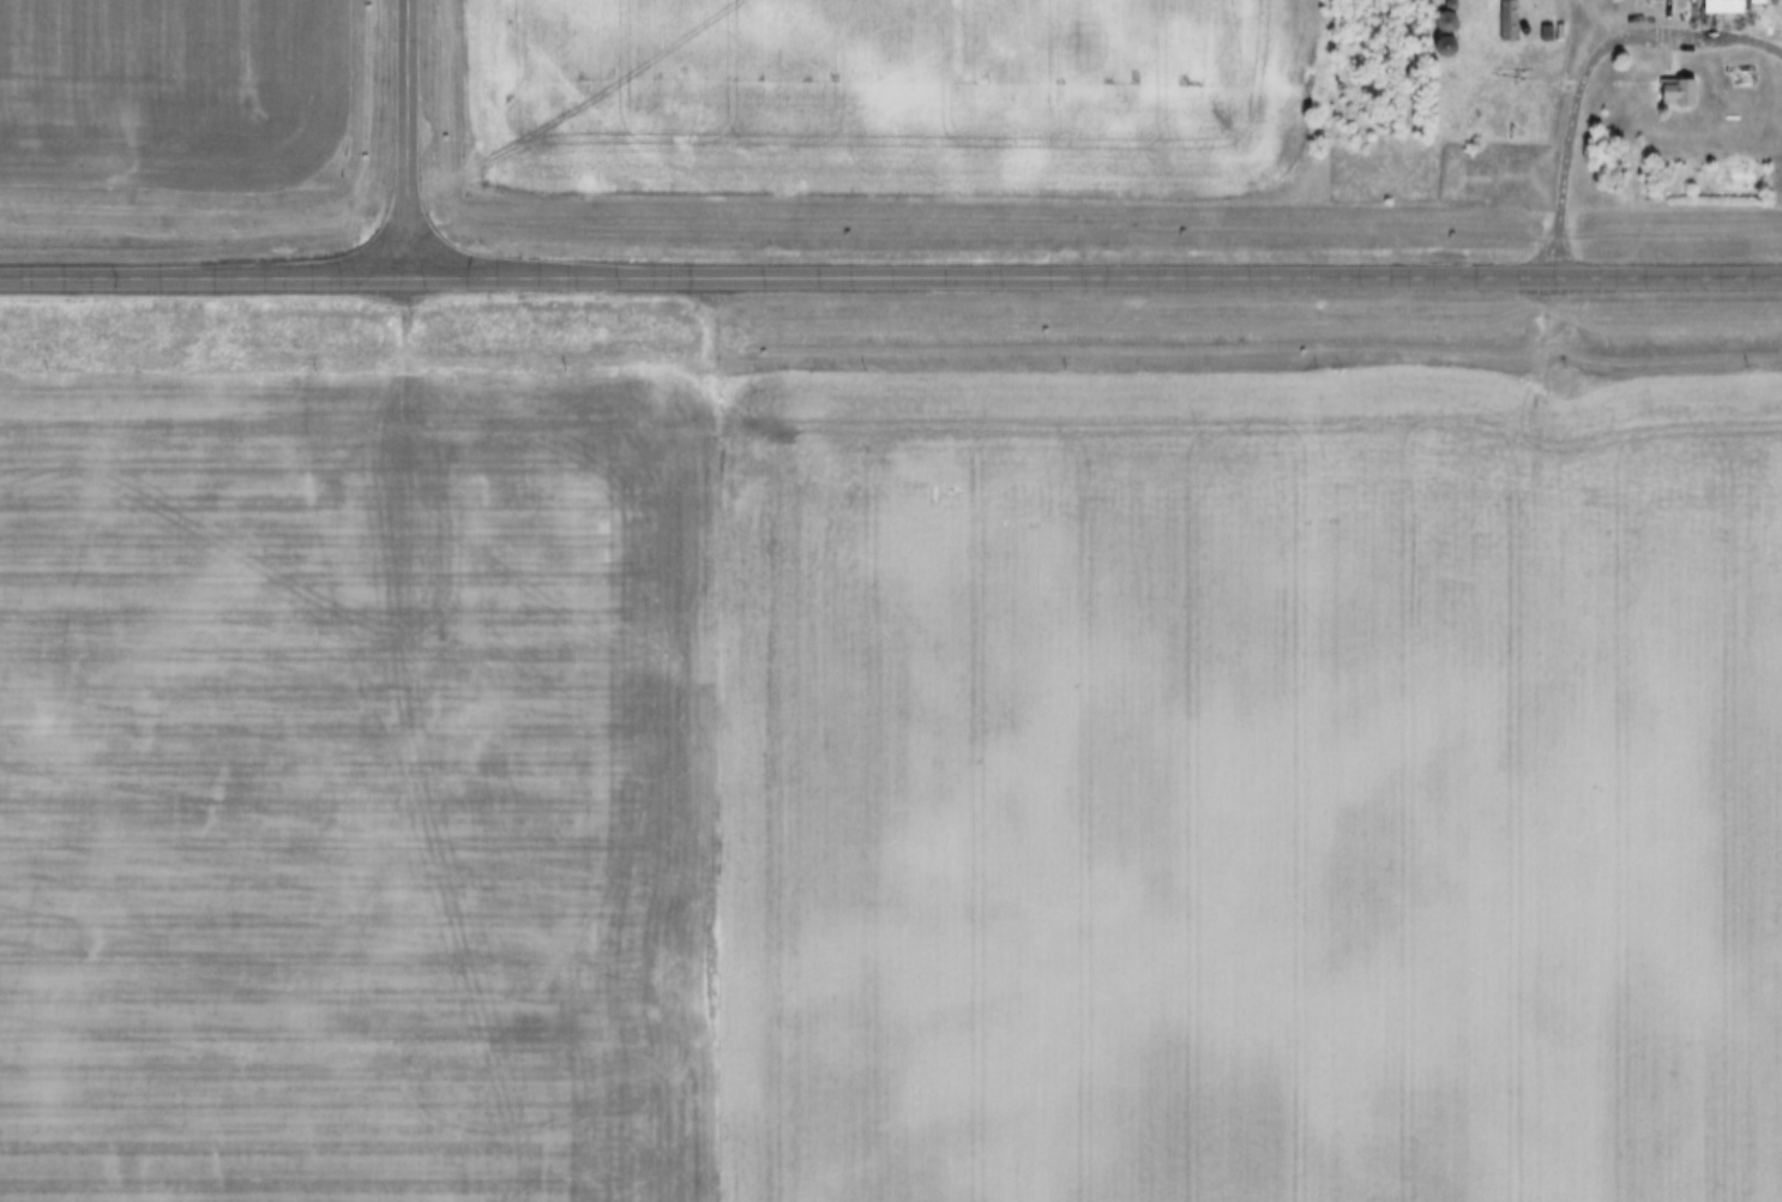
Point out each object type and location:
building: (1727, 7)
building: (1510, 23)
building: (1449, 24)
building: (1451, 49)
road: (1590, 71)
building: (1679, 95)
road: (409, 139)
road: (891, 277)

